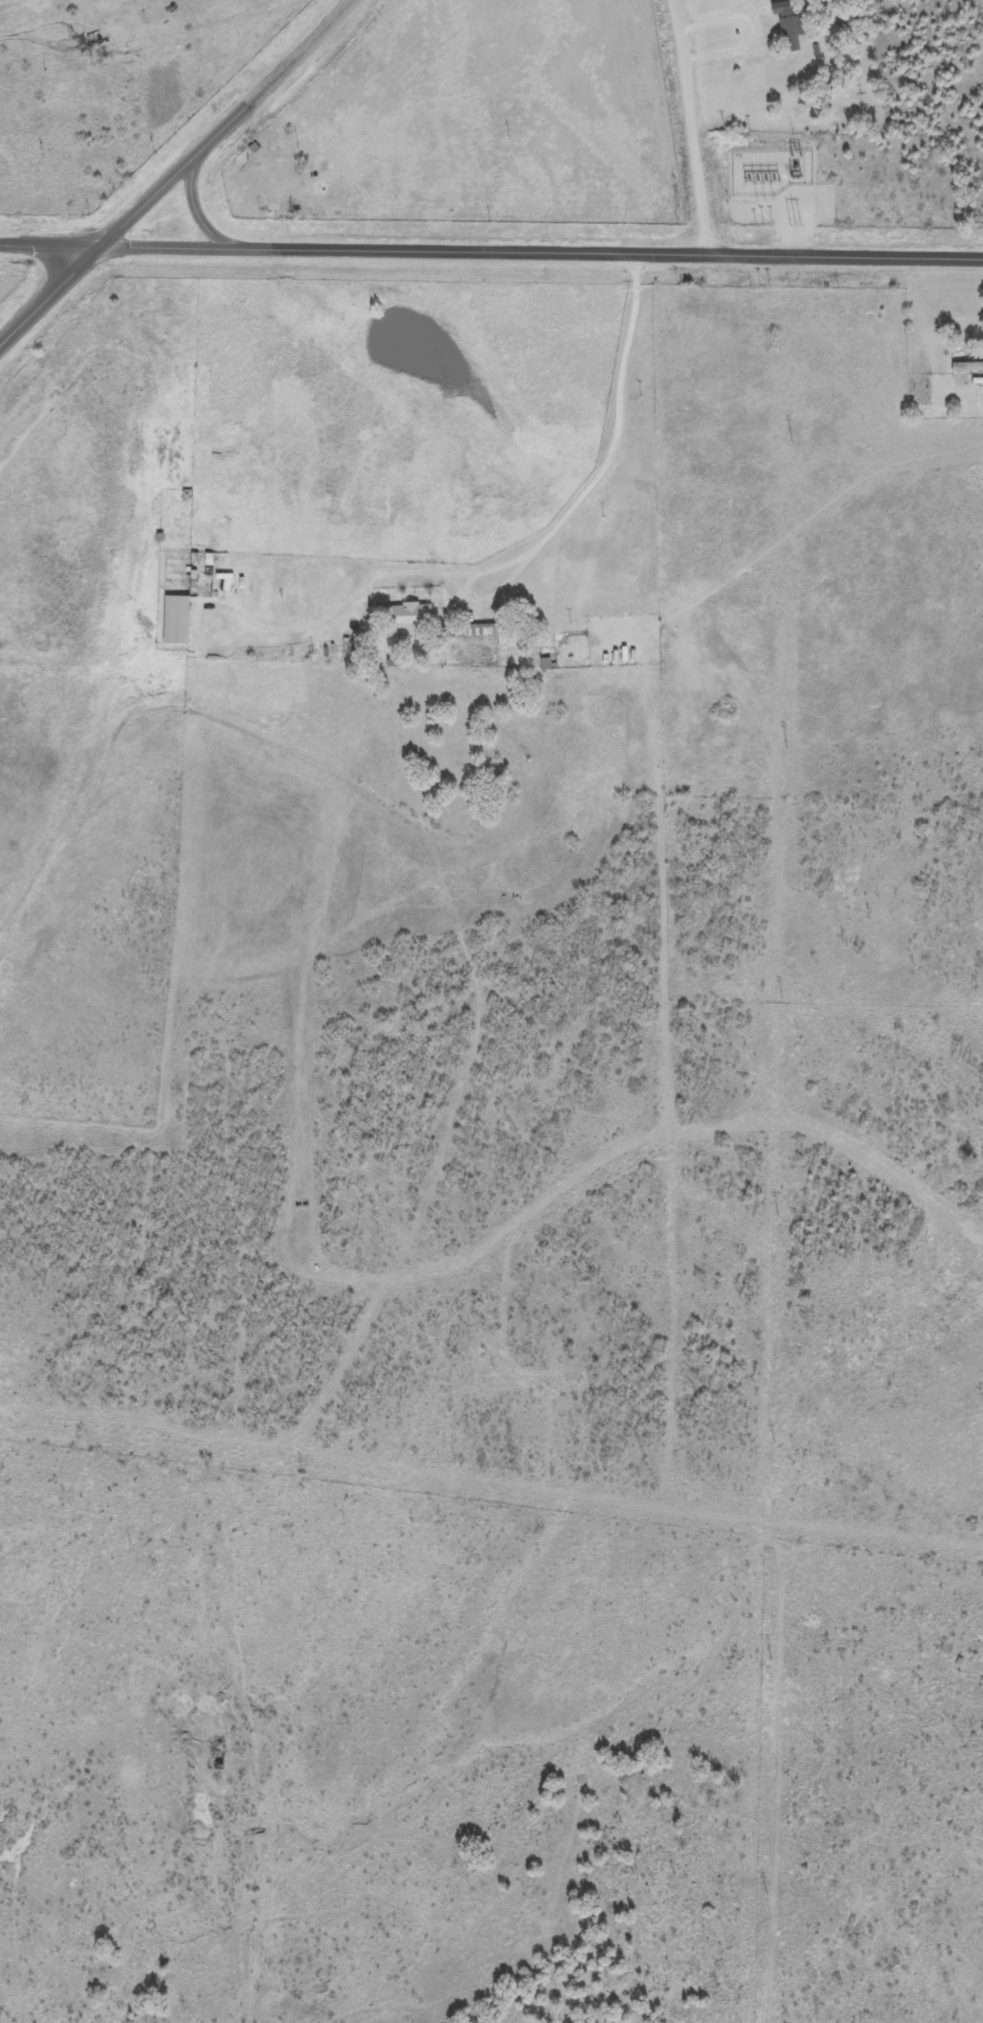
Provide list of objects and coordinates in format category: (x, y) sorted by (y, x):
road: (621, 4)
building: (786, 25)
road: (176, 174)
road: (200, 221)
road: (491, 254)
road: (585, 493)
building: (410, 617)
building: (177, 618)
building: (480, 629)

